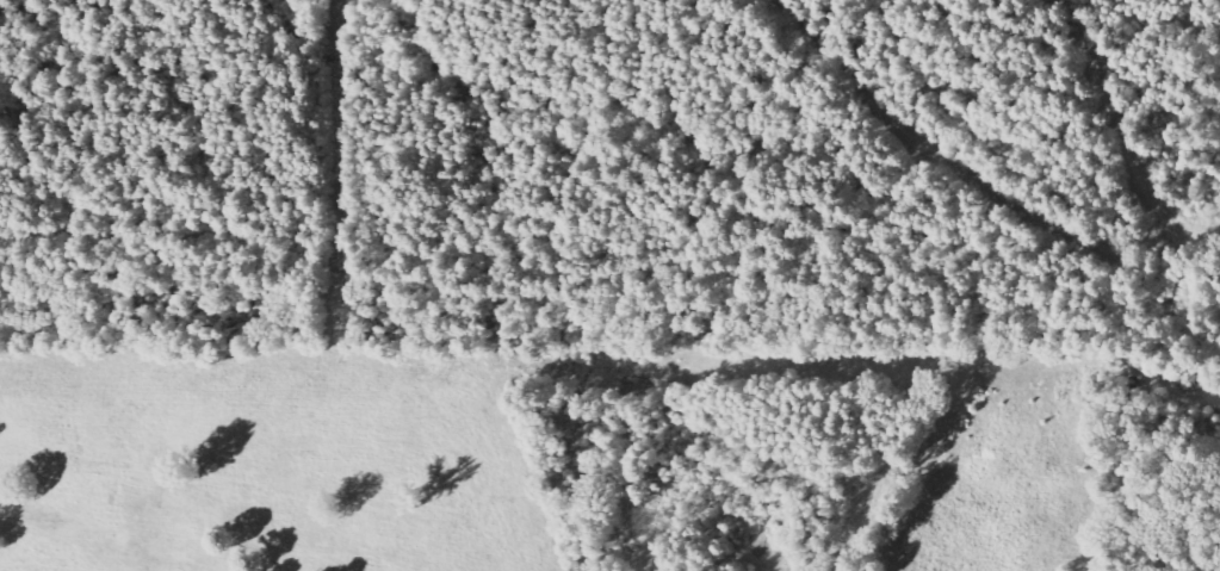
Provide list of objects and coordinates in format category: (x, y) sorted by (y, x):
road: (961, 181)

